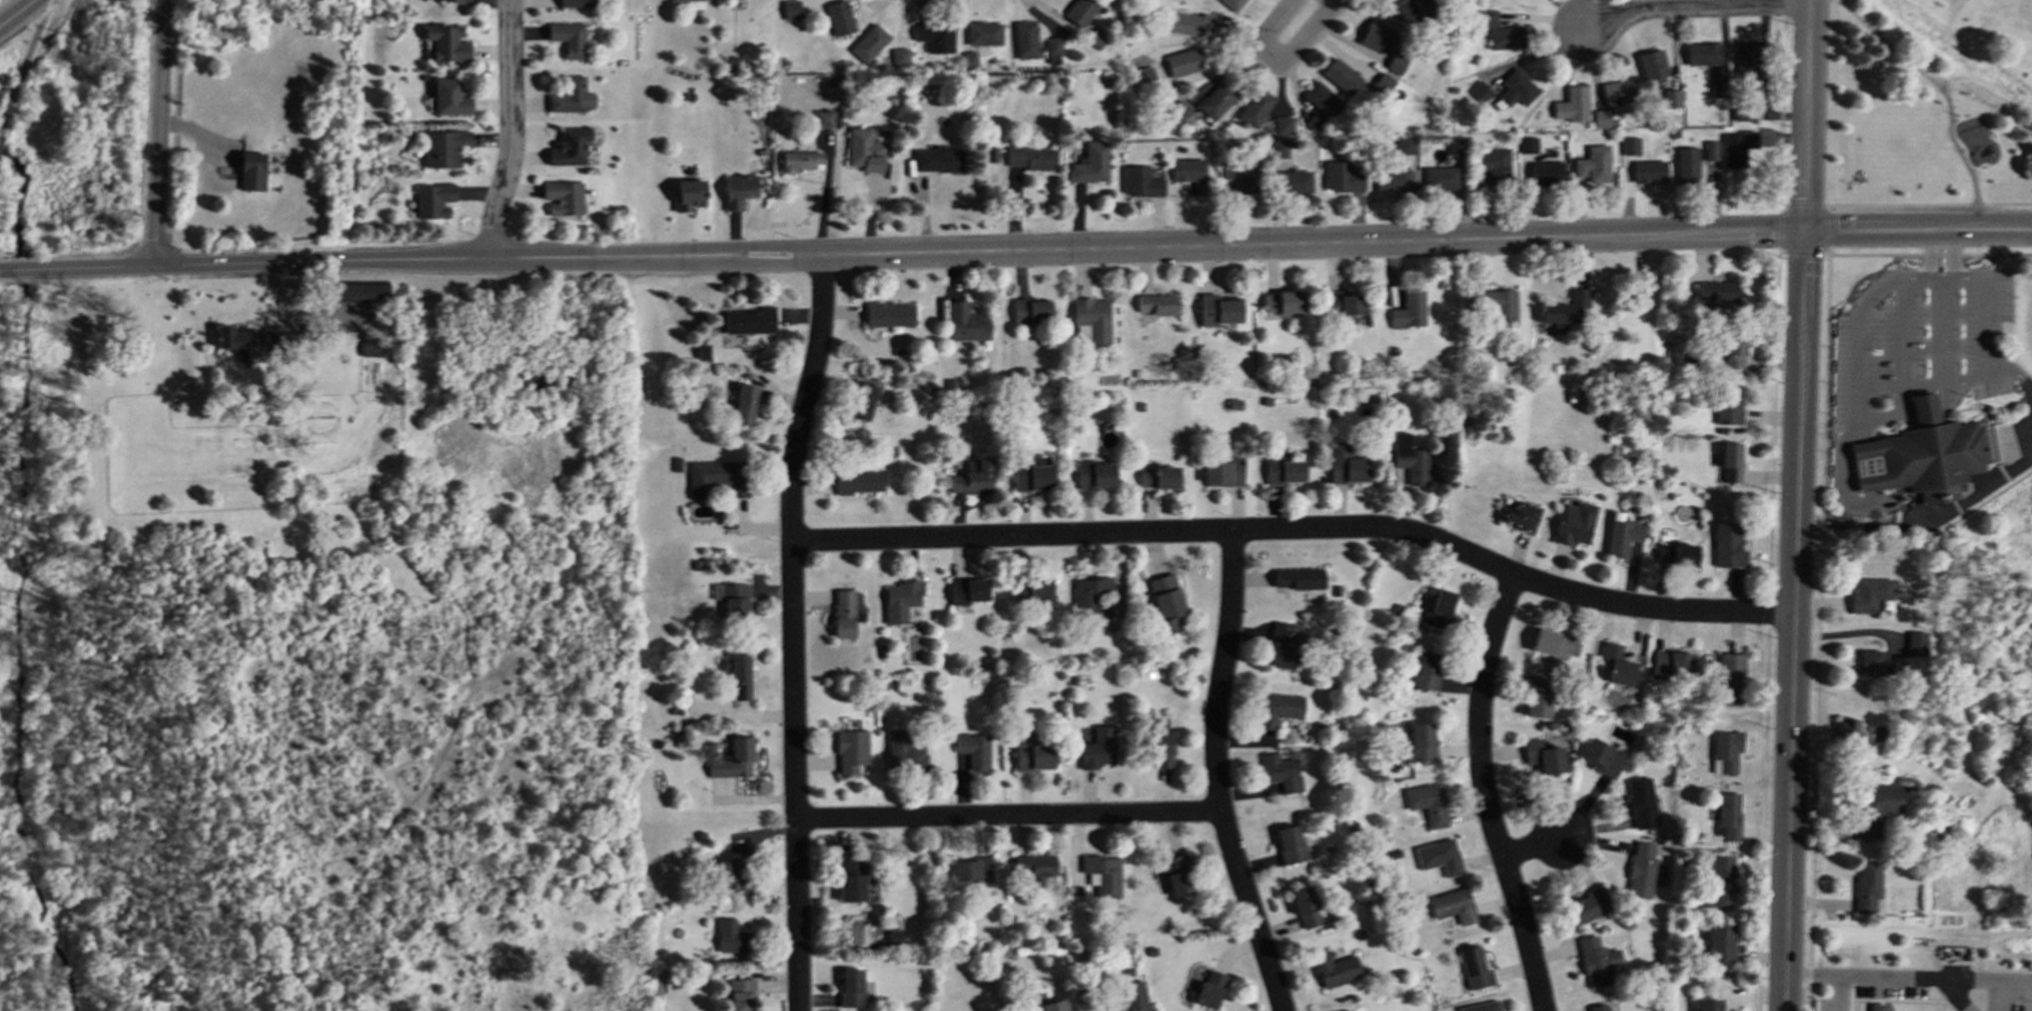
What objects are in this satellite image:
building: (685, 0)
building: (459, 1)
building: (1391, 1)
building: (575, 3)
building: (1232, 4)
building: (1423, 5)
road: (1696, 5)
building: (791, 9)
road: (14, 10)
building: (1080, 10)
building: (839, 17)
building: (1487, 17)
road: (1298, 22)
building: (1189, 23)
building: (984, 33)
building: (1374, 35)
building: (935, 37)
building: (1506, 37)
building: (567, 38)
building: (1094, 38)
building: (1025, 39)
building: (447, 42)
building: (869, 43)
building: (1052, 50)
building: (1701, 53)
building: (900, 56)
building: (969, 58)
building: (1746, 58)
road: (25, 62)
building: (1183, 62)
building: (1394, 63)
building: (1651, 66)
building: (1145, 76)
building: (1340, 76)
building: (1381, 82)
building: (1717, 88)
building: (1515, 89)
building: (1480, 91)
building: (1618, 92)
building: (571, 96)
building: (449, 97)
building: (1671, 97)
building: (1321, 99)
building: (1217, 100)
building: (1571, 104)
park: (1926, 105)
building: (1255, 107)
building: (1179, 111)
building: (1739, 115)
building: (1601, 118)
building: (823, 119)
building: (1314, 122)
building: (1282, 126)
road: (509, 129)
road: (159, 132)
building: (1527, 145)
building: (1629, 145)
building: (1404, 146)
building: (1454, 146)
building: (443, 147)
building: (569, 147)
building: (1735, 147)
building: (1276, 148)
building: (863, 150)
building: (1709, 150)
building: (991, 154)
building: (1029, 157)
building: (937, 159)
building: (798, 160)
building: (1091, 163)
building: (1494, 164)
building: (1593, 164)
building: (1685, 164)
building: (251, 171)
building: (1648, 171)
building: (1189, 173)
building: (1546, 173)
building: (1238, 175)
building: (1340, 177)
building: (1389, 179)
building: (1439, 179)
building: (1140, 181)
building: (1292, 182)
building: (737, 190)
building: (688, 194)
building: (562, 197)
building: (432, 200)
road: (1803, 204)
road: (1827, 226)
road: (1992, 226)
road: (1777, 228)
road: (976, 248)
road: (1781, 251)
road: (1802, 252)
road: (1925, 254)
road: (1934, 272)
building: (359, 291)
building: (1715, 291)
road: (1984, 291)
building: (1640, 292)
building: (1281, 302)
building: (1341, 303)
building: (1156, 304)
building: (1500, 306)
road: (290, 307)
building: (1407, 308)
building: (1561, 309)
building: (1217, 310)
building: (1030, 311)
building: (888, 315)
building: (1092, 318)
building: (749, 320)
building: (965, 322)
road: (1898, 336)
building: (246, 340)
building: (701, 351)
building: (1733, 354)
road: (1971, 376)
road: (1938, 379)
road: (1851, 382)
road: (2030, 392)
building: (861, 401)
building: (743, 404)
building: (1728, 405)
building: (1922, 454)
building: (1409, 460)
building: (1730, 462)
building: (1344, 464)
building: (1221, 471)
building: (1282, 471)
building: (1032, 474)
building: (1093, 475)
building: (972, 477)
building: (1157, 477)
building: (716, 478)
building: (858, 481)
road: (1796, 505)
road: (1941, 510)
building: (1519, 516)
road: (1816, 519)
building: (1573, 523)
road: (1299, 528)
building: (1621, 534)
building: (1726, 545)
building: (1675, 553)
building: (1296, 578)
building: (967, 590)
building: (1033, 592)
building: (1091, 593)
building: (1868, 594)
building: (731, 598)
building: (900, 600)
building: (1166, 602)
building: (1437, 608)
building: (844, 613)
road: (1817, 627)
road: (1766, 628)
road: (793, 630)
building: (1553, 643)
building: (1916, 643)
building: (1280, 645)
building: (1672, 662)
building: (1869, 662)
building: (1616, 664)
building: (1888, 667)
building: (1424, 671)
building: (737, 673)
building: (1730, 678)
building: (1536, 704)
building: (1278, 708)
building: (1847, 730)
building: (1420, 742)
building: (1098, 748)
building: (974, 749)
building: (1161, 749)
building: (850, 750)
building: (904, 750)
building: (1724, 751)
building: (1542, 756)
building: (1033, 757)
building: (1601, 757)
building: (733, 759)
building: (1279, 771)
road: (1217, 775)
road: (1484, 794)
building: (1641, 802)
building: (1426, 803)
building: (1874, 806)
road: (1009, 816)
building: (1727, 816)
building: (1289, 844)
road: (1534, 844)
building: (1437, 856)
building: (1035, 864)
building: (971, 869)
building: (1640, 869)
building: (1102, 874)
building: (1177, 875)
building: (730, 876)
building: (850, 880)
building: (1721, 880)
building: (1866, 885)
building: (1589, 905)
building: (1452, 906)
building: (1304, 907)
building: (895, 935)
building: (729, 937)
building: (1719, 943)
building: (1597, 962)
building: (1473, 968)
building: (1333, 969)
road: (1863, 971)
road: (1987, 975)
building: (850, 987)
building: (1209, 990)
road: (1834, 991)
road: (1955, 993)
building: (739, 995)
building: (1133, 997)
building: (1707, 1005)
building: (1049, 1006)
building: (1478, 1007)
building: (1597, 1007)
building: (1875, 1007)

